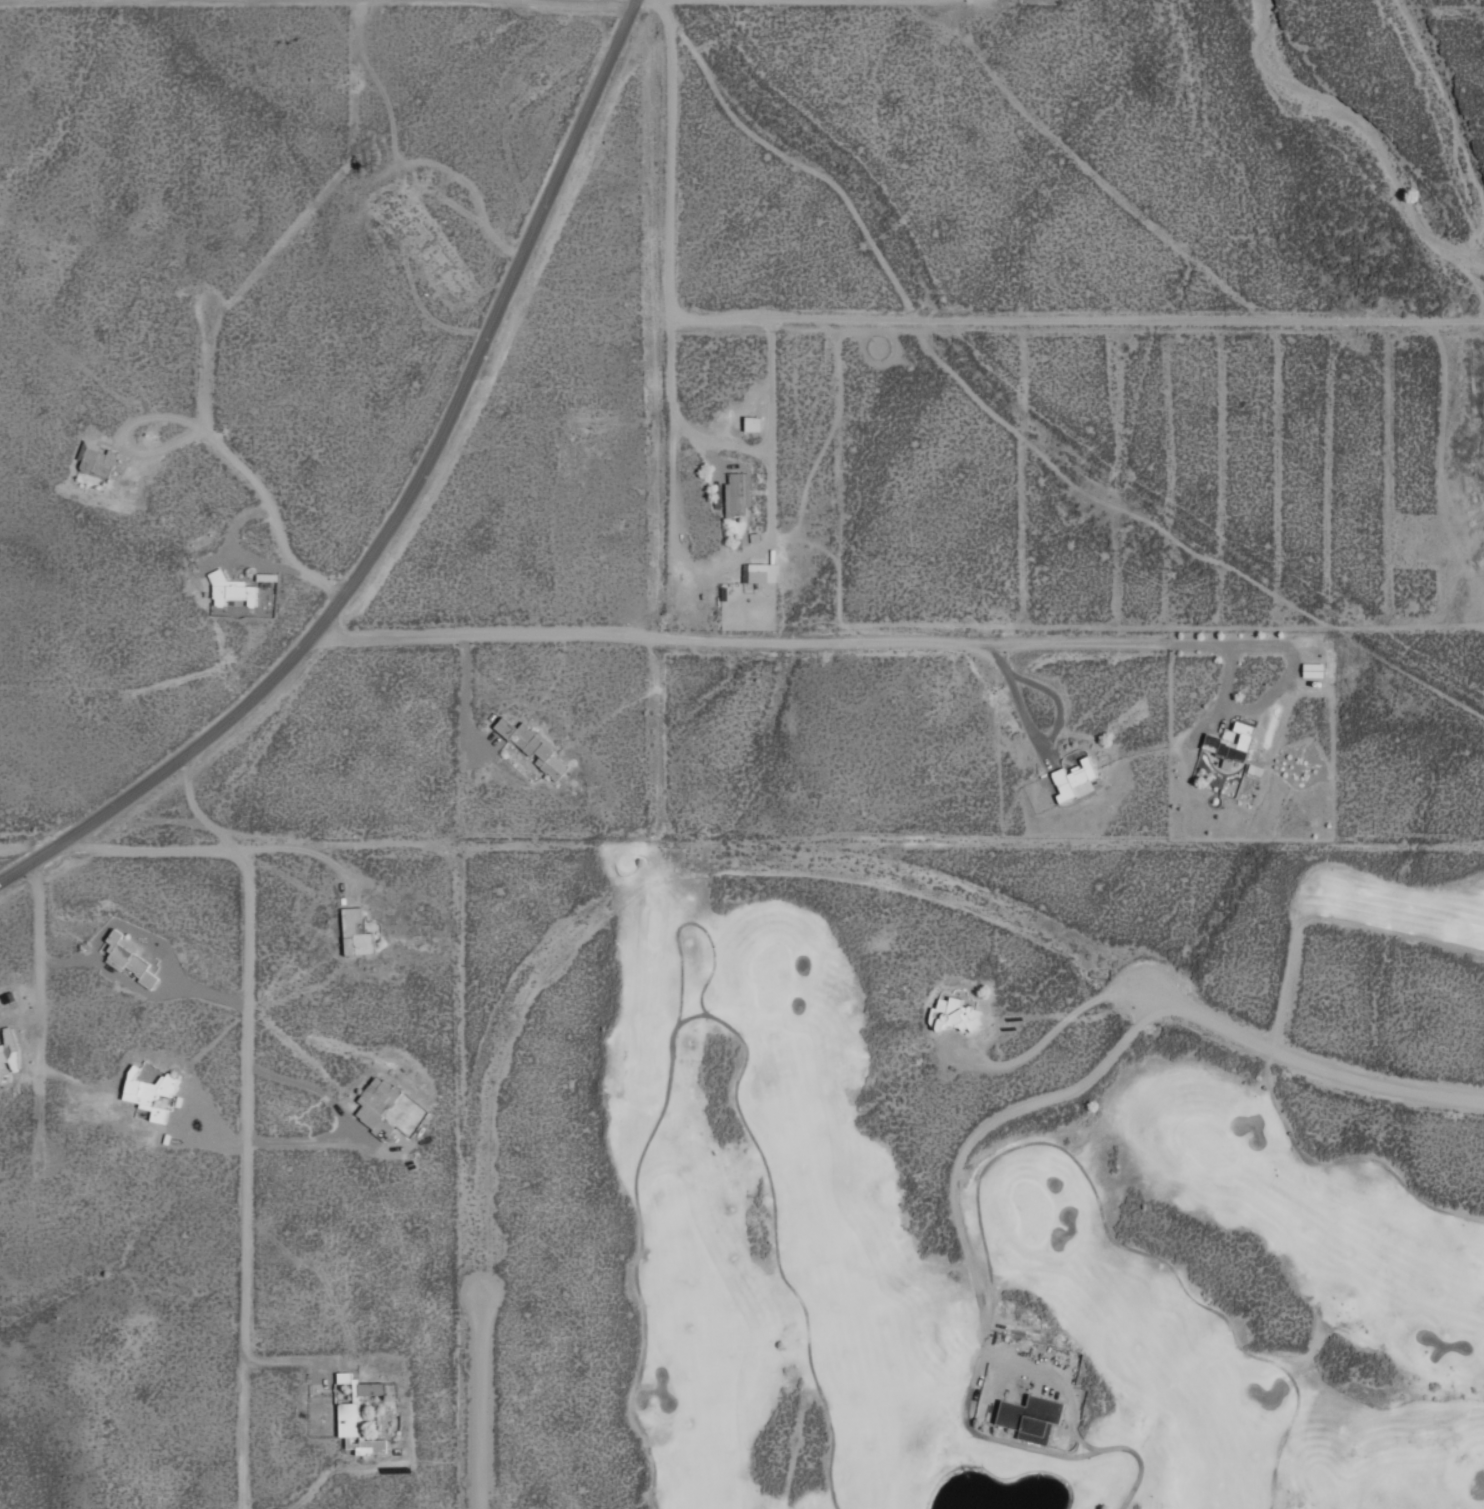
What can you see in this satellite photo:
road: (582, 4)
building: (751, 423)
building: (94, 459)
building: (736, 494)
road: (400, 503)
building: (758, 572)
building: (229, 590)
building: (263, 599)
road: (809, 637)
building: (1311, 669)
building: (1229, 742)
building: (1073, 779)
building: (354, 932)
building: (121, 953)
building: (954, 1015)
building: (7, 1046)
road: (1313, 1066)
road: (241, 1081)
building: (147, 1088)
building: (374, 1100)
park: (1033, 1172)
building: (358, 1385)
road: (481, 1399)
building: (355, 1429)

